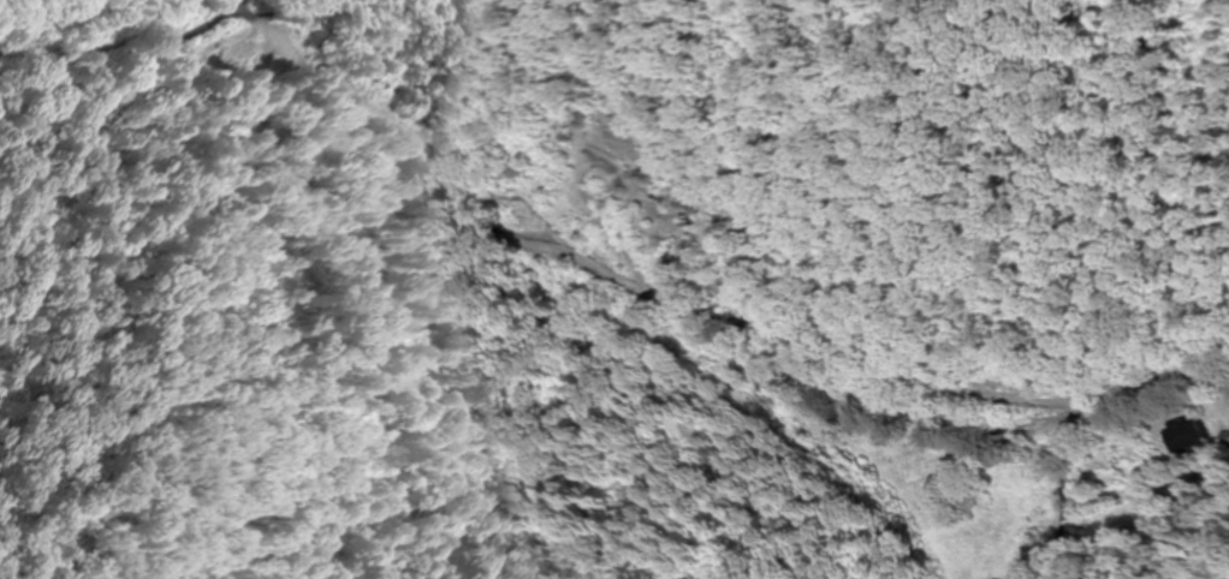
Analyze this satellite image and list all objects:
road: (933, 378)
road: (855, 396)
building: (1177, 434)

